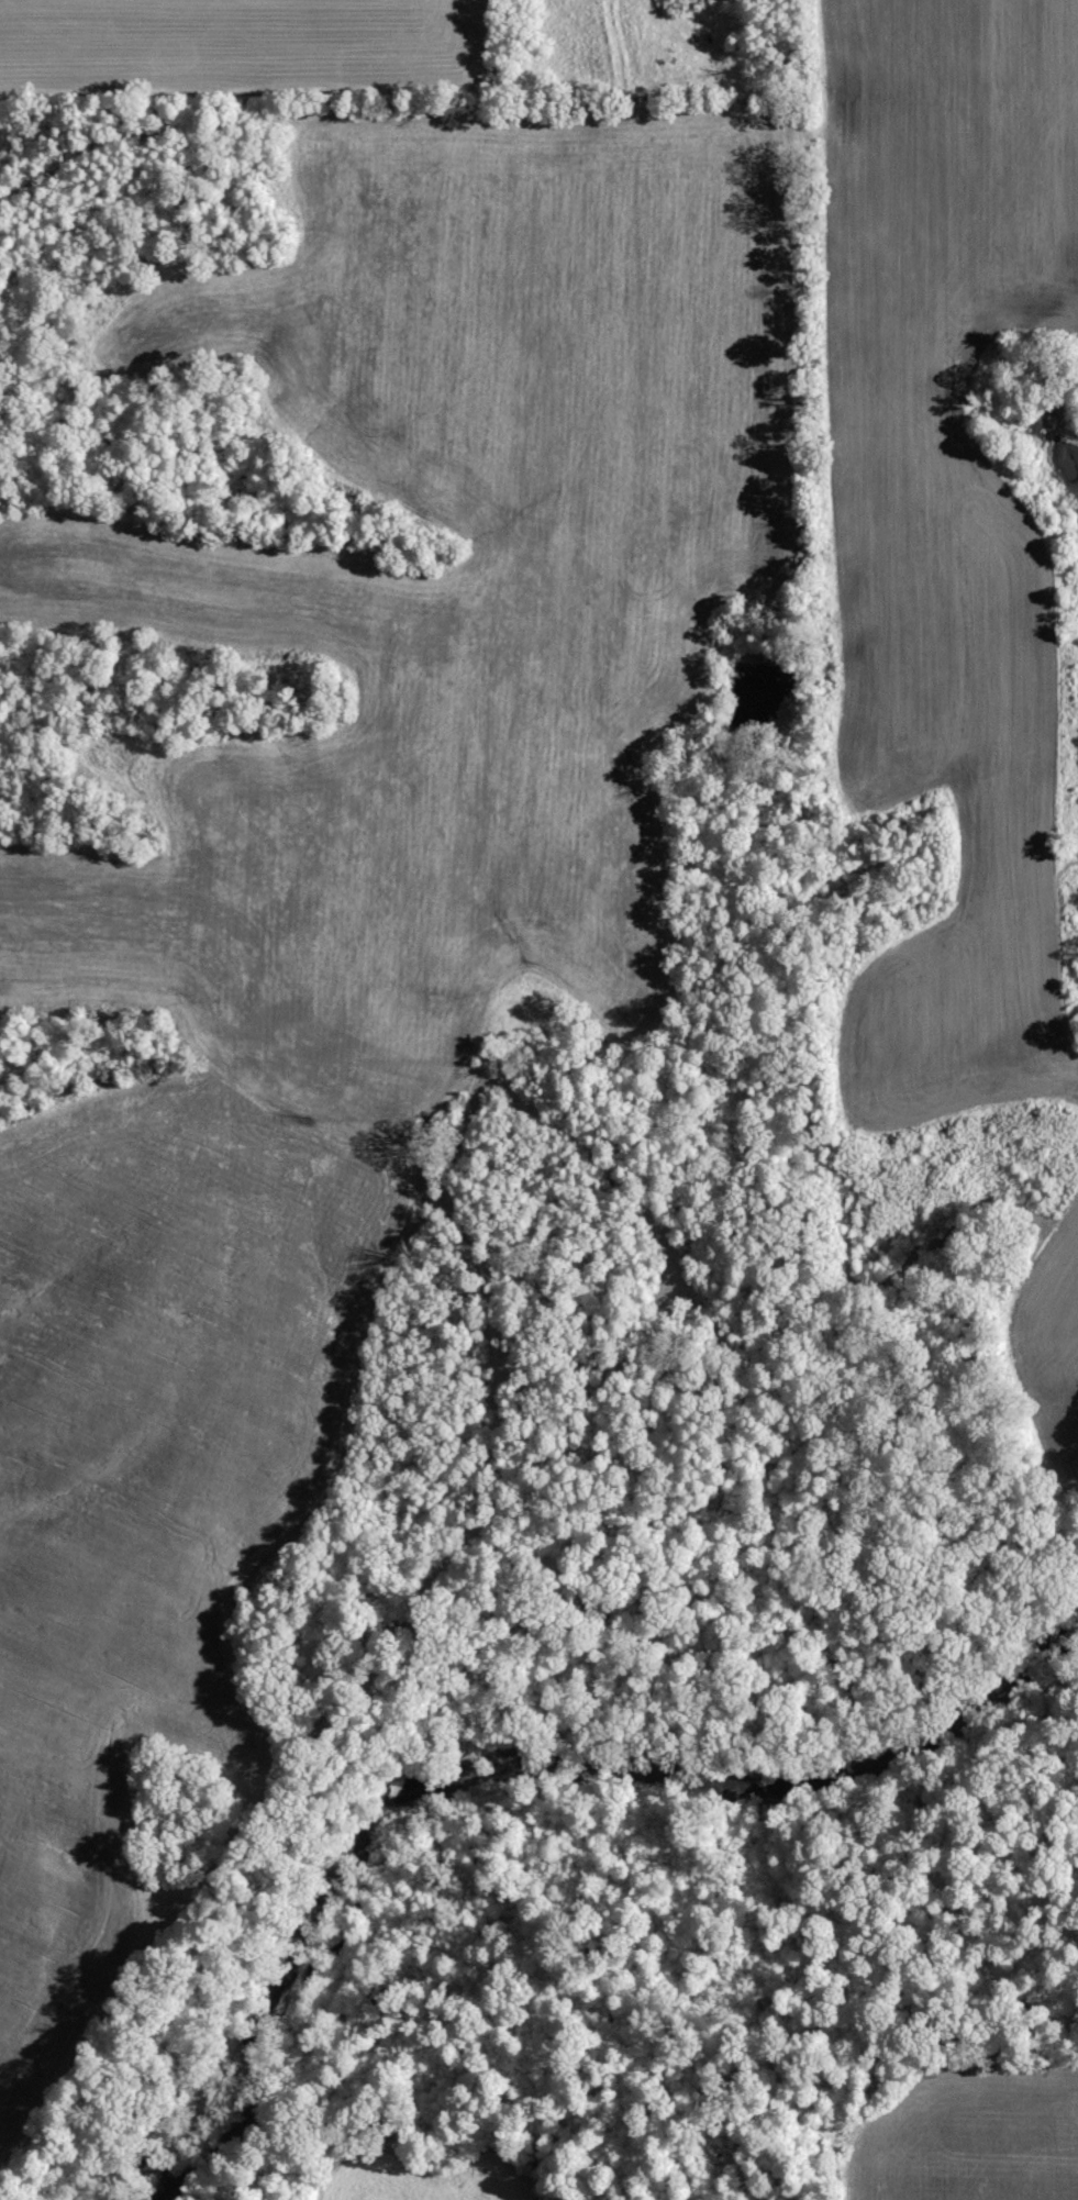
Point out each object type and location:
river: (901, 1734)
river: (332, 1870)

